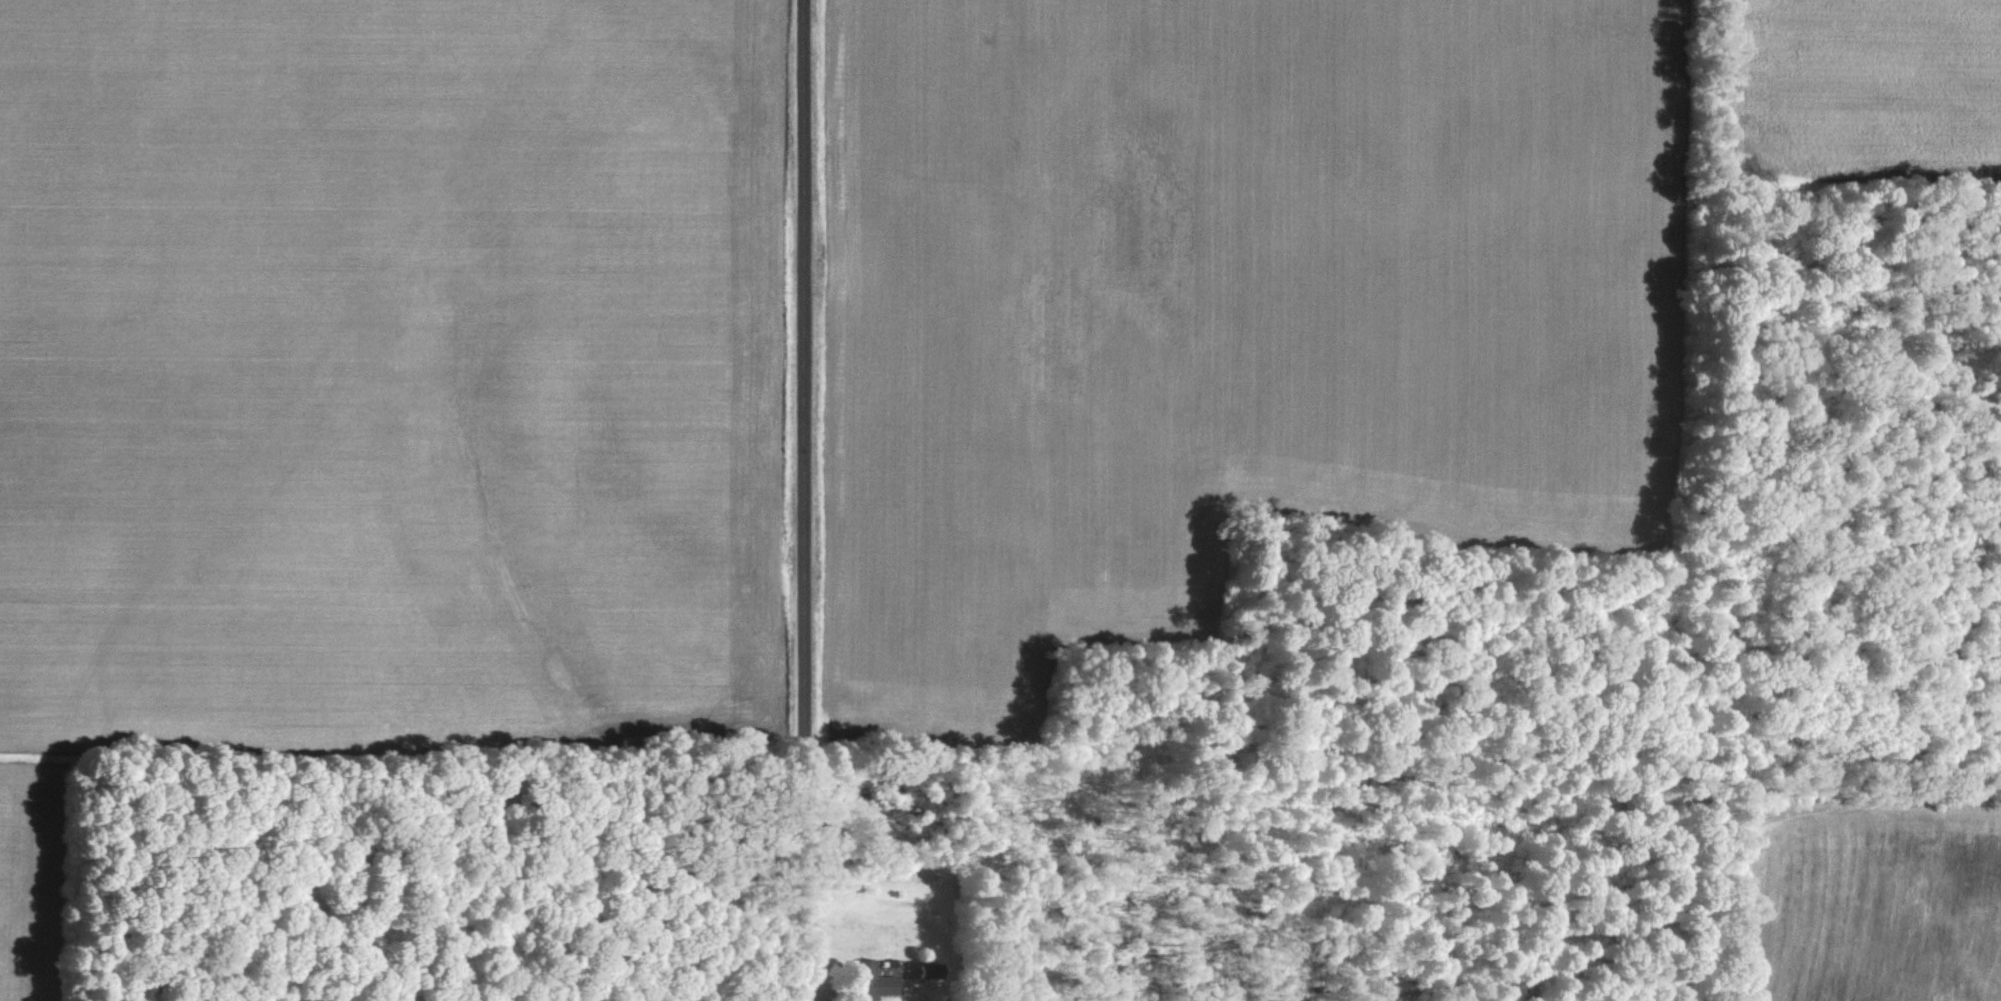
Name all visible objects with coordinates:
road: (802, 500)

